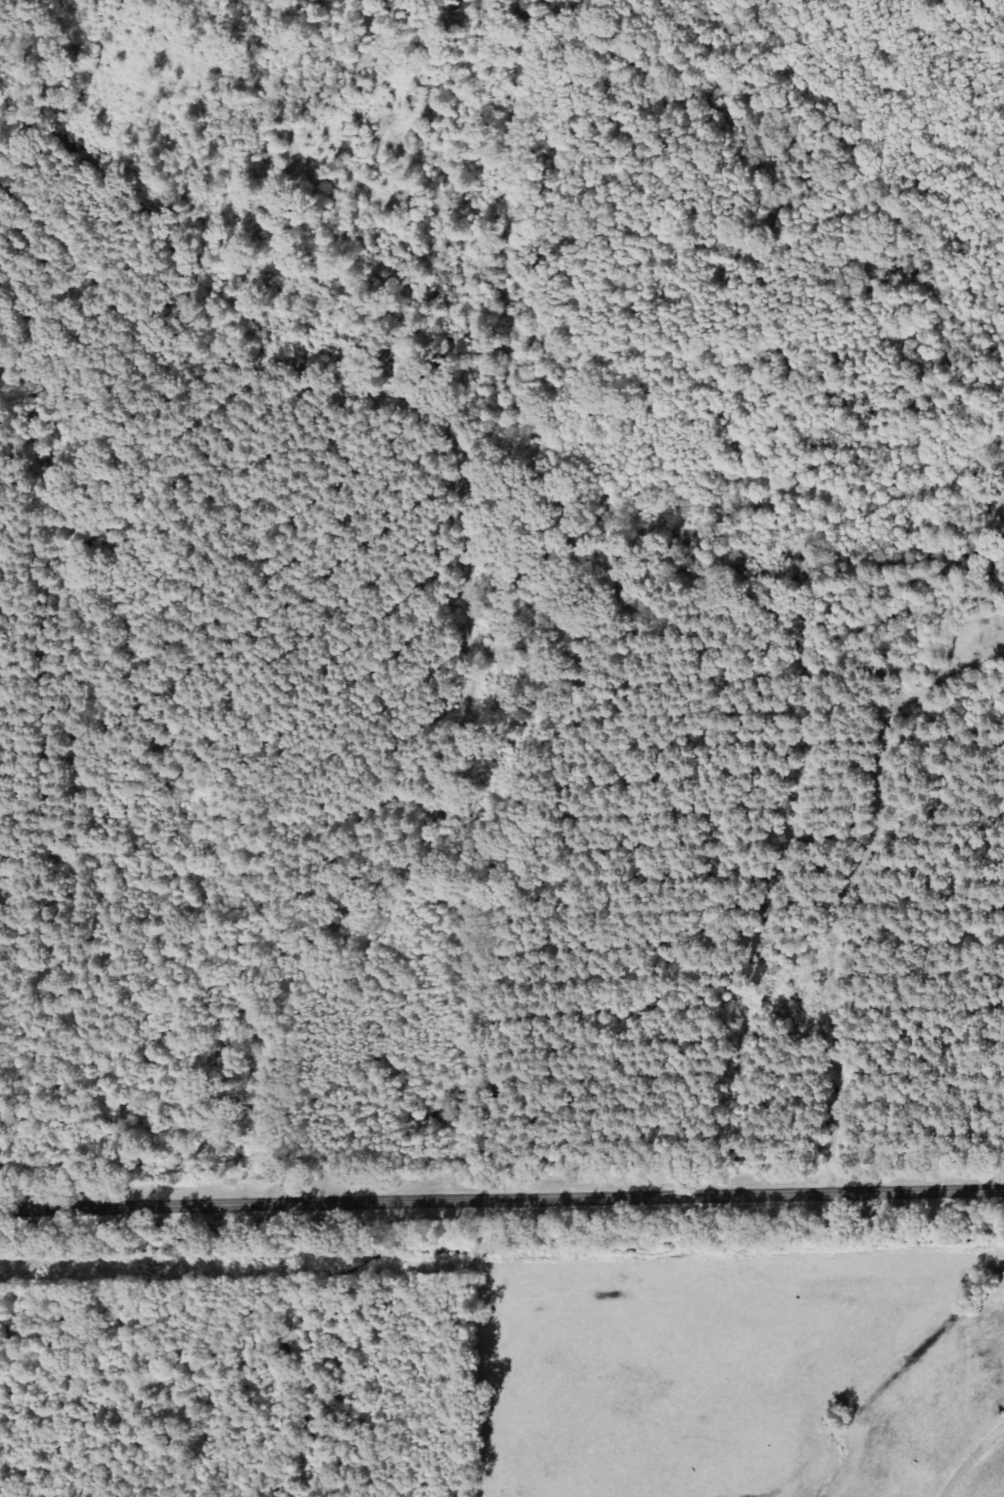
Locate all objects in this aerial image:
road: (501, 1198)

